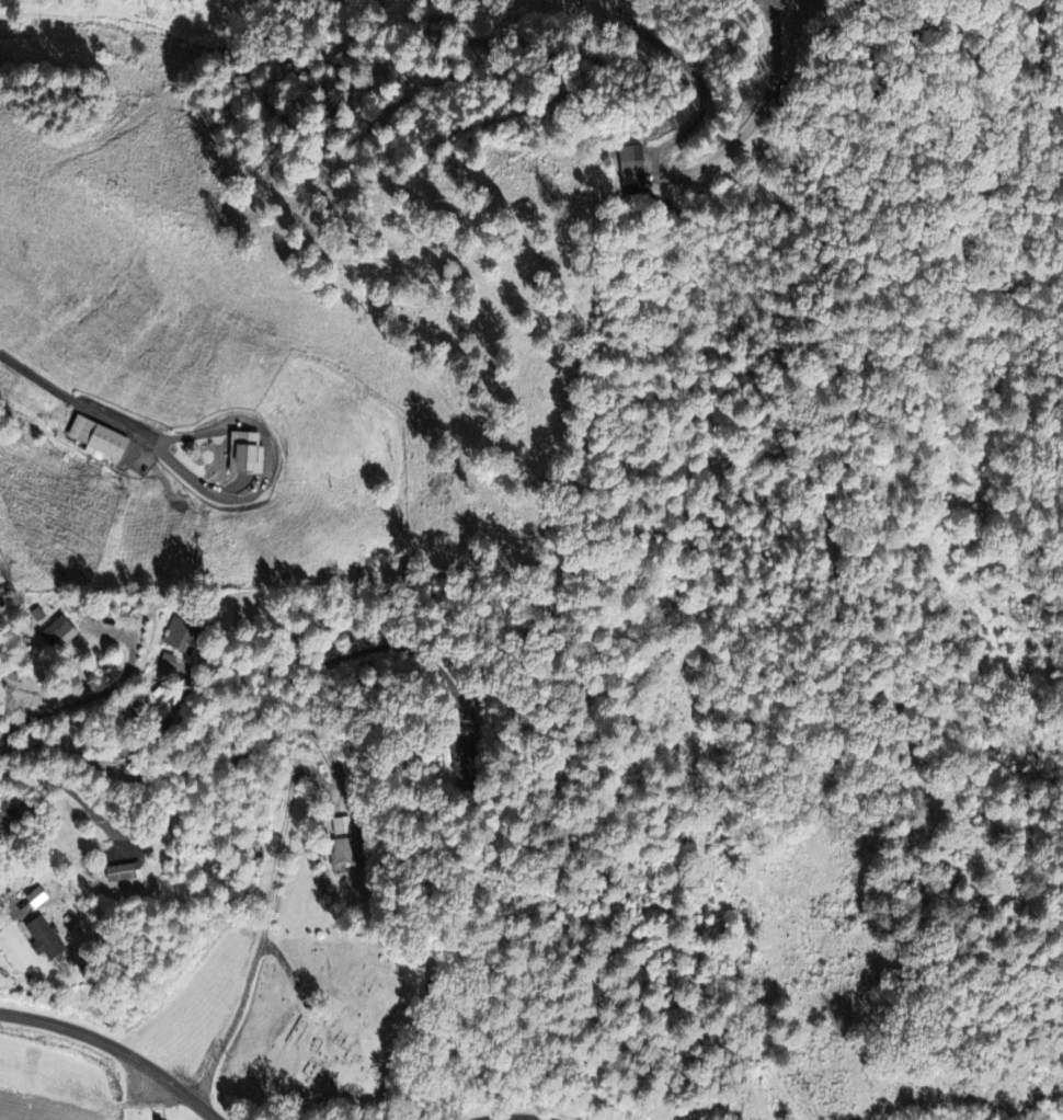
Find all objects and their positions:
building: (629, 163)
road: (667, 173)
road: (75, 396)
building: (96, 439)
building: (243, 453)
building: (47, 635)
building: (175, 637)
building: (160, 662)
road: (251, 697)
road: (58, 707)
building: (460, 761)
building: (341, 825)
building: (342, 854)
building: (121, 872)
building: (34, 898)
road: (266, 919)
building: (43, 938)
park: (327, 1024)
road: (116, 1047)
road: (503, 1119)

